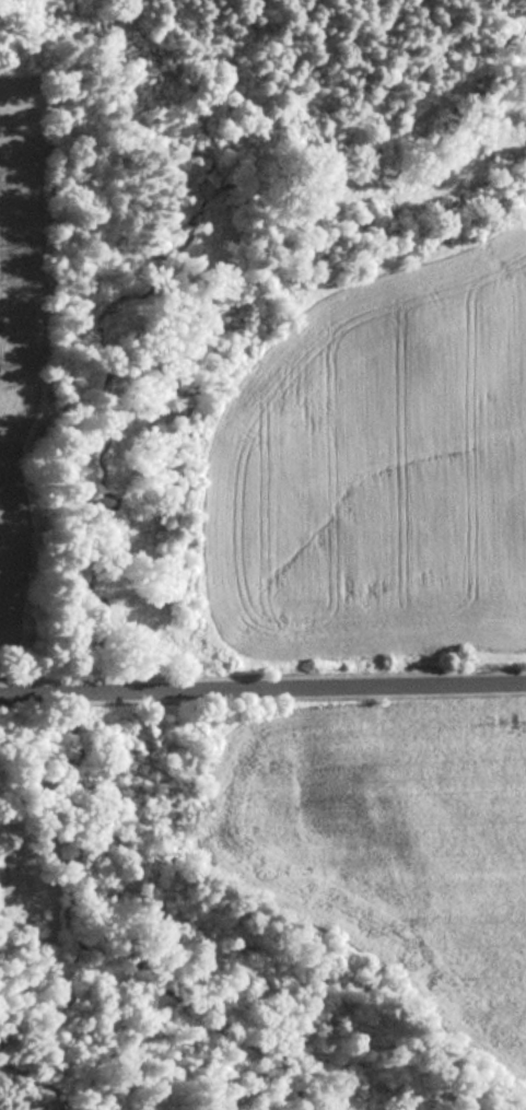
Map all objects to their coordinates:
road: (262, 692)

